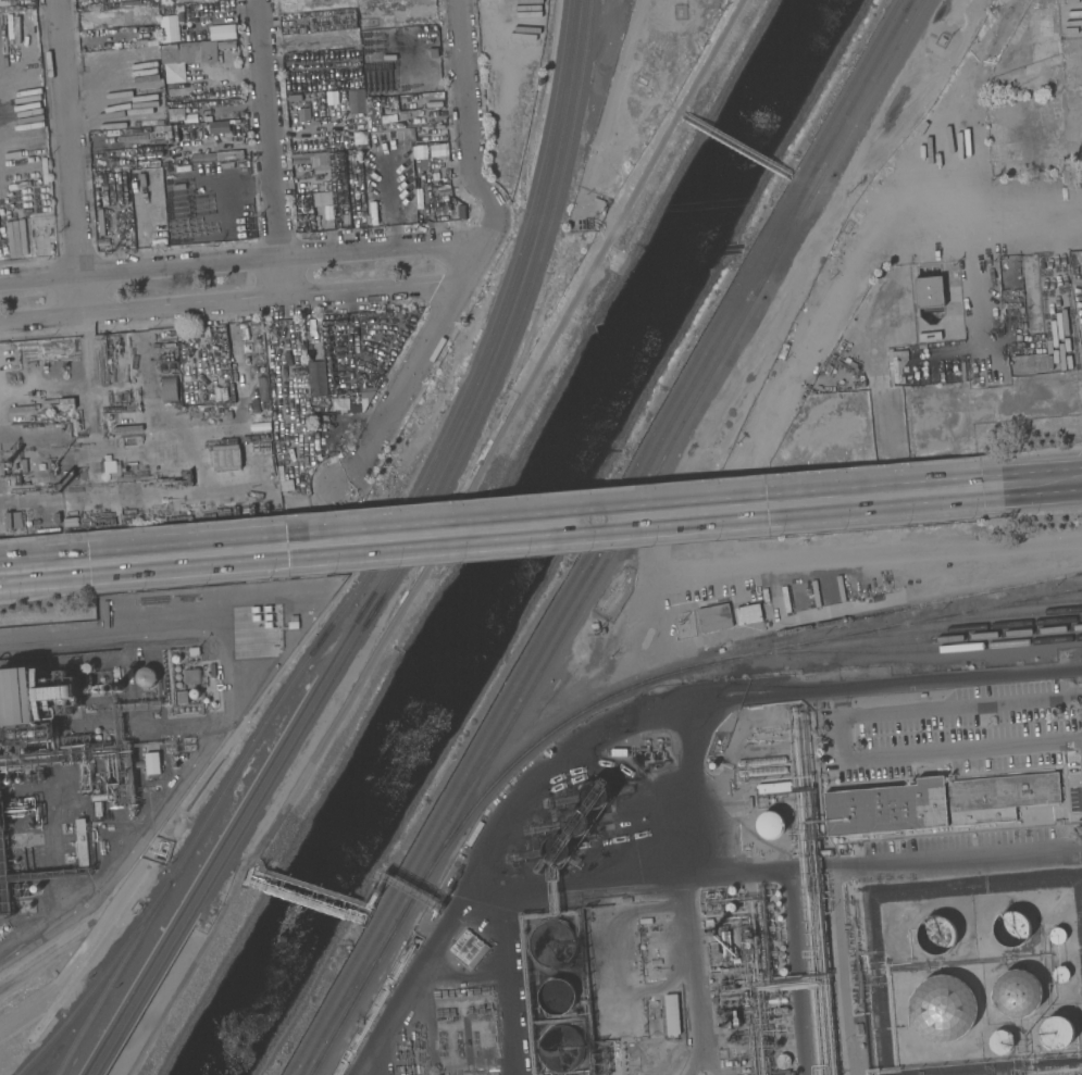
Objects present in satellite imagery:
railway: (908, 7)
railway: (909, 7)
building: (167, 28)
building: (222, 32)
building: (227, 45)
building: (197, 52)
building: (294, 98)
building: (437, 99)
building: (331, 101)
building: (373, 108)
road: (949, 112)
building: (357, 116)
building: (374, 123)
building: (139, 130)
road: (271, 138)
road: (468, 138)
road: (66, 150)
building: (311, 157)
railway: (555, 174)
building: (154, 176)
building: (138, 178)
building: (111, 179)
building: (325, 186)
building: (441, 191)
building: (209, 200)
building: (373, 212)
building: (363, 216)
road: (983, 216)
building: (419, 217)
building: (346, 218)
road: (142, 234)
railway: (785, 234)
building: (158, 241)
road: (380, 270)
road: (142, 271)
road: (983, 284)
building: (929, 291)
road: (39, 303)
road: (185, 307)
building: (930, 336)
railway: (506, 359)
road: (410, 375)
building: (170, 388)
building: (365, 396)
road: (498, 435)
railway: (673, 440)
building: (225, 458)
railway: (431, 465)
building: (34, 468)
road: (1042, 484)
railway: (419, 515)
building: (12, 520)
road: (565, 526)
railway: (595, 537)
railway: (602, 543)
road: (871, 555)
road: (64, 567)
railway: (1067, 592)
railway: (1024, 604)
railway: (908, 608)
building: (748, 614)
building: (713, 617)
railway: (983, 618)
railway: (943, 630)
railway: (899, 642)
railway: (933, 650)
building: (176, 659)
railway: (713, 663)
building: (87, 668)
building: (177, 668)
building: (178, 676)
building: (146, 677)
building: (178, 684)
chimney: (117, 687)
building: (195, 693)
building: (20, 696)
building: (183, 697)
road: (629, 718)
building: (97, 730)
building: (30, 734)
building: (97, 738)
road: (923, 754)
building: (79, 755)
building: (761, 761)
building: (152, 763)
railway: (482, 767)
building: (761, 771)
building: (18, 779)
building: (8, 780)
building: (773, 787)
building: (596, 795)
building: (102, 797)
building: (935, 803)
building: (98, 809)
building: (1, 816)
building: (576, 822)
building: (29, 824)
building: (770, 825)
building: (82, 842)
building: (558, 850)
road: (262, 868)
railway: (206, 877)
railway: (216, 879)
road: (315, 887)
building: (36, 888)
building: (731, 890)
building: (776, 893)
road: (363, 902)
building: (778, 903)
building: (28, 905)
building: (718, 907)
building: (708, 908)
building: (731, 908)
building: (779, 917)
building: (1011, 928)
storage tank: (1011, 928)
building: (712, 930)
building: (935, 936)
storage tank: (935, 936)
building: (1057, 936)
storage tank: (1057, 936)
building: (748, 939)
building: (551, 943)
building: (781, 948)
building: (469, 949)
building: (782, 955)
building: (782, 971)
building: (1060, 974)
storage tank: (1060, 974)
railway: (114, 977)
railway: (368, 978)
railway: (101, 982)
railway: (360, 982)
building: (1017, 993)
storage tank: (1017, 993)
building: (556, 997)
building: (776, 1001)
building: (943, 1009)
storage tank: (943, 1009)
building: (780, 1011)
building: (672, 1015)
building: (722, 1025)
building: (858, 1029)
building: (1057, 1033)
storage tank: (1057, 1033)
building: (1000, 1042)
storage tank: (1000, 1042)
building: (561, 1049)
power plant: (364, 1060)
building: (782, 1061)
building: (731, 1063)

